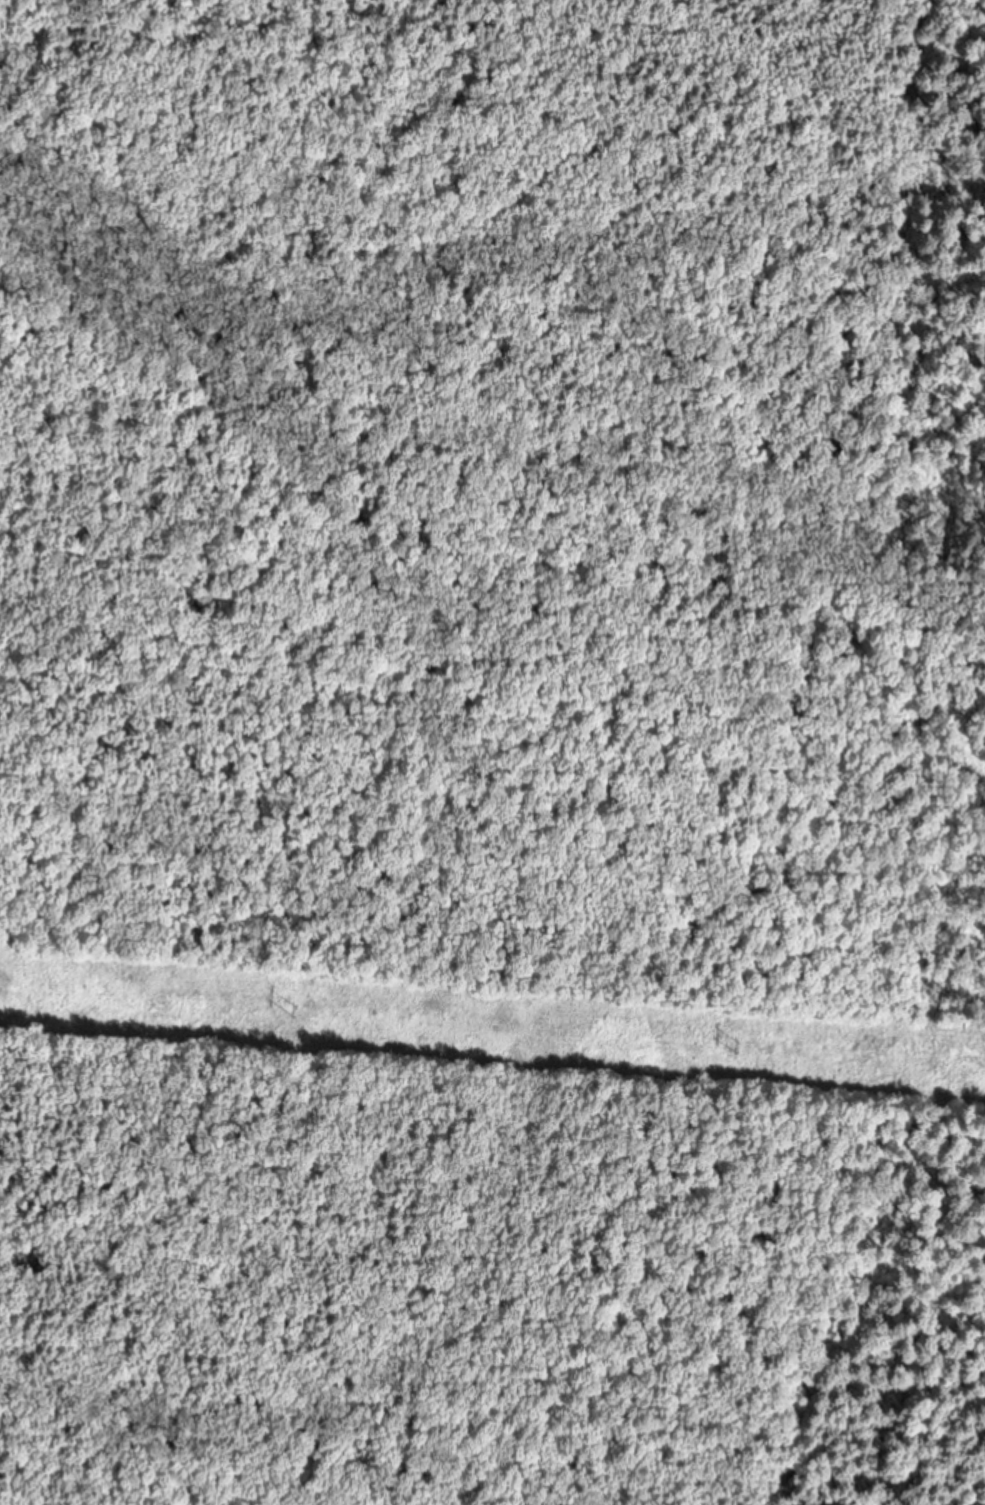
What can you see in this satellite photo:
power tower: (292, 1016)
power tower: (744, 1050)

